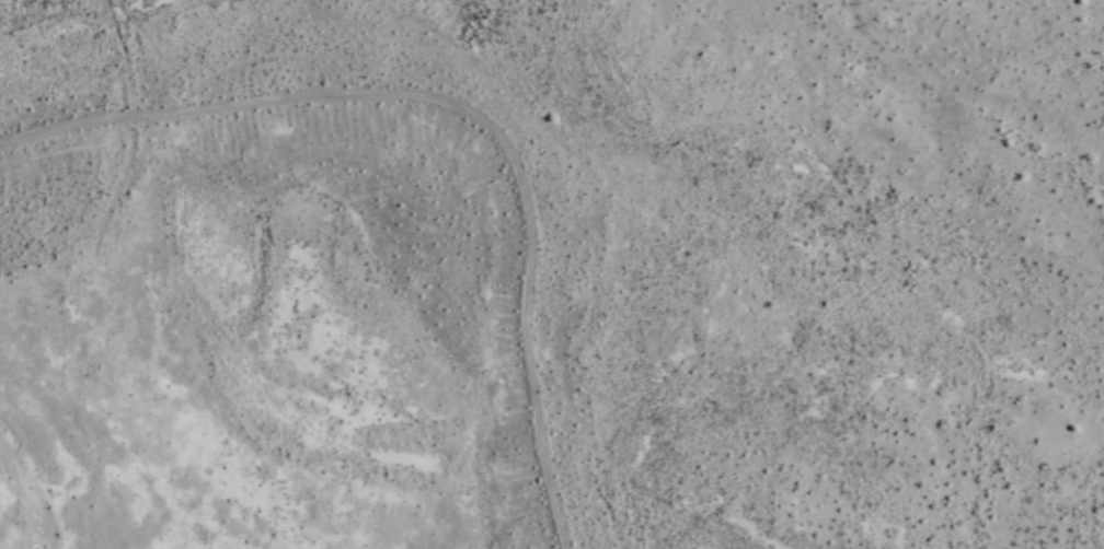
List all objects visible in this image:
road: (451, 116)

